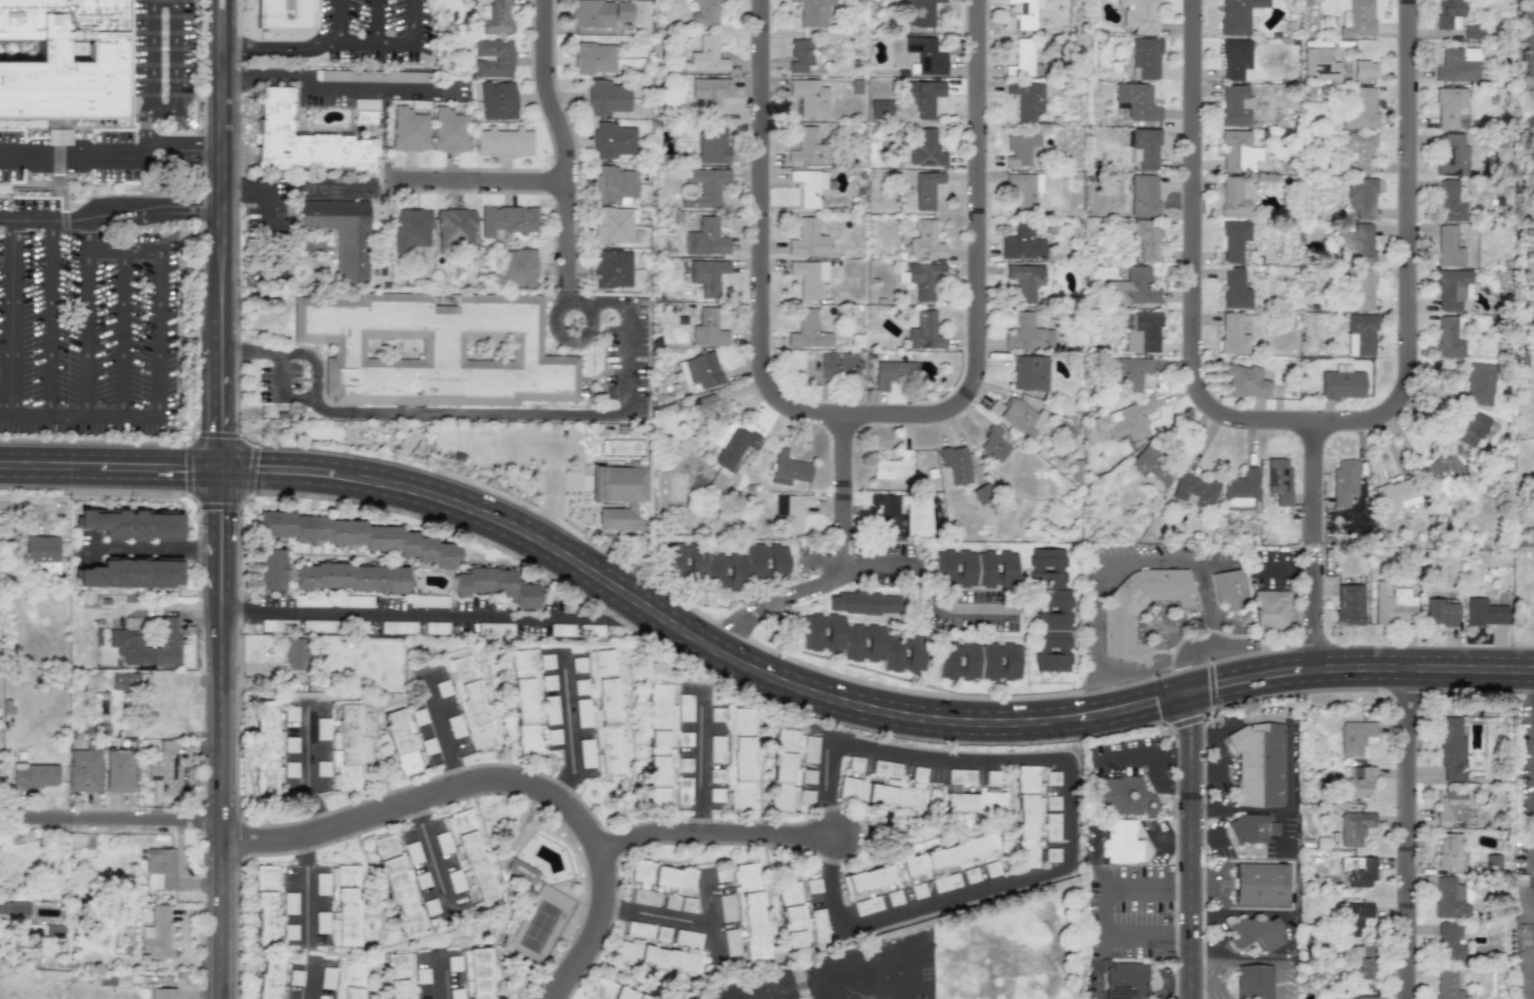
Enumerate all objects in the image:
road: (227, 10)
road: (215, 11)
building: (705, 12)
building: (813, 12)
building: (599, 13)
building: (920, 13)
building: (1026, 13)
building: (1448, 13)
building: (286, 14)
building: (1239, 15)
building: (497, 17)
building: (1141, 17)
road: (339, 19)
building: (1357, 19)
road: (376, 20)
road: (409, 20)
building: (1472, 32)
road: (315, 40)
building: (1528, 54)
building: (800, 55)
building: (926, 55)
building: (707, 56)
building: (502, 58)
building: (594, 58)
building: (1025, 58)
building: (1145, 58)
building: (63, 59)
building: (1236, 60)
building: (1319, 65)
building: (1458, 65)
building: (1364, 69)
building: (371, 76)
road: (337, 89)
building: (708, 94)
building: (924, 97)
building: (606, 98)
building: (809, 98)
building: (1028, 99)
building: (498, 100)
building: (1136, 102)
building: (1235, 105)
building: (1361, 109)
building: (1451, 109)
building: (881, 110)
road: (162, 111)
road: (147, 130)
building: (409, 130)
building: (449, 131)
building: (303, 140)
building: (612, 140)
building: (504, 142)
building: (712, 146)
building: (1020, 148)
building: (1146, 148)
building: (809, 149)
road: (184, 150)
building: (926, 150)
building: (1361, 151)
building: (1238, 152)
road: (73, 156)
building: (1452, 156)
road: (562, 158)
road: (475, 180)
building: (614, 183)
building: (810, 186)
building: (704, 187)
building: (926, 189)
building: (1024, 189)
road: (266, 195)
building: (1144, 195)
building: (1235, 197)
building: (1361, 198)
building: (1451, 200)
road: (144, 208)
road: (33, 220)
building: (507, 220)
building: (612, 225)
building: (454, 229)
building: (410, 230)
building: (342, 234)
building: (705, 238)
building: (808, 239)
building: (1147, 239)
building: (1234, 240)
building: (925, 241)
road: (758, 242)
building: (1022, 243)
building: (1359, 243)
road: (222, 245)
building: (1448, 247)
road: (1405, 250)
road: (105, 252)
road: (1192, 264)
road: (974, 266)
building: (515, 268)
building: (612, 268)
building: (707, 276)
building: (809, 277)
building: (922, 279)
building: (1025, 281)
building: (1134, 287)
building: (1235, 289)
building: (1363, 289)
building: (1452, 289)
road: (86, 316)
road: (12, 317)
road: (50, 318)
building: (708, 329)
building: (808, 331)
building: (925, 332)
building: (1142, 332)
road: (122, 334)
road: (158, 334)
building: (1028, 334)
building: (1233, 335)
building: (1360, 335)
building: (1450, 336)
building: (434, 350)
building: (838, 366)
building: (701, 370)
building: (894, 373)
building: (1030, 373)
building: (1130, 373)
building: (1246, 381)
building: (1479, 384)
building: (1342, 385)
road: (279, 390)
building: (708, 412)
road: (60, 415)
road: (480, 415)
building: (1018, 417)
building: (1130, 422)
building: (1471, 429)
building: (994, 443)
building: (733, 446)
building: (617, 448)
building: (956, 464)
building: (1151, 466)
road: (111, 467)
building: (893, 467)
building: (789, 469)
road: (844, 477)
building: (1343, 482)
building: (1279, 483)
road: (1312, 484)
building: (1241, 490)
building: (1195, 491)
building: (1397, 495)
building: (618, 496)
road: (27, 507)
building: (792, 510)
building: (887, 510)
building: (130, 525)
building: (356, 536)
road: (1312, 548)
road: (158, 552)
building: (41, 556)
road: (395, 560)
road: (1148, 562)
building: (727, 565)
building: (270, 569)
road: (291, 569)
building: (975, 569)
building: (129, 574)
building: (351, 577)
building: (496, 586)
building: (1229, 588)
road: (797, 589)
building: (310, 601)
building: (354, 601)
building: (428, 601)
building: (863, 603)
building: (1393, 604)
building: (1348, 605)
road: (163, 606)
road: (953, 608)
building: (1051, 610)
building: (1271, 610)
building: (1440, 612)
building: (1484, 612)
road: (442, 614)
road: (1313, 614)
road: (1217, 620)
building: (275, 625)
building: (1118, 625)
building: (318, 626)
building: (397, 627)
building: (435, 628)
building: (494, 628)
building: (561, 630)
building: (125, 638)
road: (1097, 639)
building: (862, 642)
road: (1523, 645)
building: (296, 653)
building: (978, 661)
building: (546, 662)
building: (579, 665)
building: (127, 680)
road: (1533, 681)
building: (548, 682)
building: (580, 687)
building: (442, 688)
road: (1483, 690)
road: (1533, 692)
building: (525, 699)
building: (470, 703)
road: (239, 705)
road: (854, 705)
building: (684, 707)
building: (661, 708)
building: (550, 710)
building: (606, 712)
building: (583, 713)
building: (290, 714)
building: (716, 714)
building: (455, 726)
building: (322, 729)
road: (569, 729)
road: (221, 733)
road: (444, 734)
building: (1355, 736)
building: (550, 738)
building: (684, 739)
building: (407, 740)
building: (286, 744)
building: (796, 744)
building: (345, 747)
building: (266, 748)
building: (1451, 749)
building: (586, 753)
road: (1184, 753)
road: (1203, 753)
road: (1138, 754)
building: (735, 756)
building: (658, 759)
road: (701, 763)
building: (855, 764)
building: (1257, 764)
building: (684, 765)
building: (323, 768)
building: (165, 769)
building: (290, 769)
building: (885, 769)
building: (84, 770)
building: (117, 770)
building: (918, 774)
building: (33, 775)
building: (716, 776)
building: (992, 777)
building: (1051, 778)
road: (501, 780)
building: (1359, 781)
building: (789, 784)
road: (1159, 786)
building: (683, 791)
building: (867, 792)
building: (958, 793)
building: (715, 795)
building: (1120, 796)
building: (912, 798)
road: (1533, 798)
building: (991, 802)
building: (1450, 805)
building: (1030, 812)
road: (1065, 814)
road: (1176, 819)
road: (111, 820)
building: (1051, 826)
building: (1354, 827)
building: (1252, 829)
road: (1408, 833)
road: (716, 834)
building: (1120, 842)
building: (442, 843)
road: (1192, 845)
building: (408, 849)
building: (1449, 850)
road: (430, 855)
building: (952, 855)
building: (473, 858)
road: (1093, 859)
building: (1493, 862)
building: (991, 868)
building: (159, 869)
building: (1358, 870)
building: (522, 871)
building: (970, 875)
building: (663, 877)
building: (867, 880)
building: (455, 881)
building: (945, 882)
building: (322, 884)
building: (1260, 884)
road: (1184, 885)
building: (403, 888)
road: (304, 889)
building: (917, 891)
building: (644, 897)
building: (894, 898)
building: (1452, 899)
building: (289, 903)
building: (678, 903)
building: (266, 905)
building: (867, 906)
building: (14, 908)
building: (341, 908)
building: (726, 908)
road: (1176, 912)
road: (1104, 913)
road: (677, 914)
building: (801, 914)
building: (747, 916)
building: (1354, 917)
building: (639, 930)
building: (54, 931)
building: (289, 932)
building: (1255, 933)
building: (158, 934)
building: (662, 934)
building: (951, 934)
road: (1184, 940)
building: (908, 941)
building: (1450, 943)
road: (1533, 952)
building: (664, 954)
building: (952, 954)
building: (859, 955)
building: (454, 963)
building: (1361, 963)
building: (821, 966)
road: (1175, 969)
building: (476, 973)
building: (952, 973)
building: (400, 976)
building: (421, 976)
building: (295, 977)
building: (327, 978)
building: (269, 979)
building: (348, 979)
road: (436, 979)
building: (1126, 980)
building: (1253, 982)
road: (311, 984)
building: (1447, 984)
building: (891, 986)
road: (772, 989)
building: (869, 989)
building: (613, 991)
building: (952, 991)
building: (162, 993)
building: (456, 993)
building: (840, 995)
building: (1353, 998)

